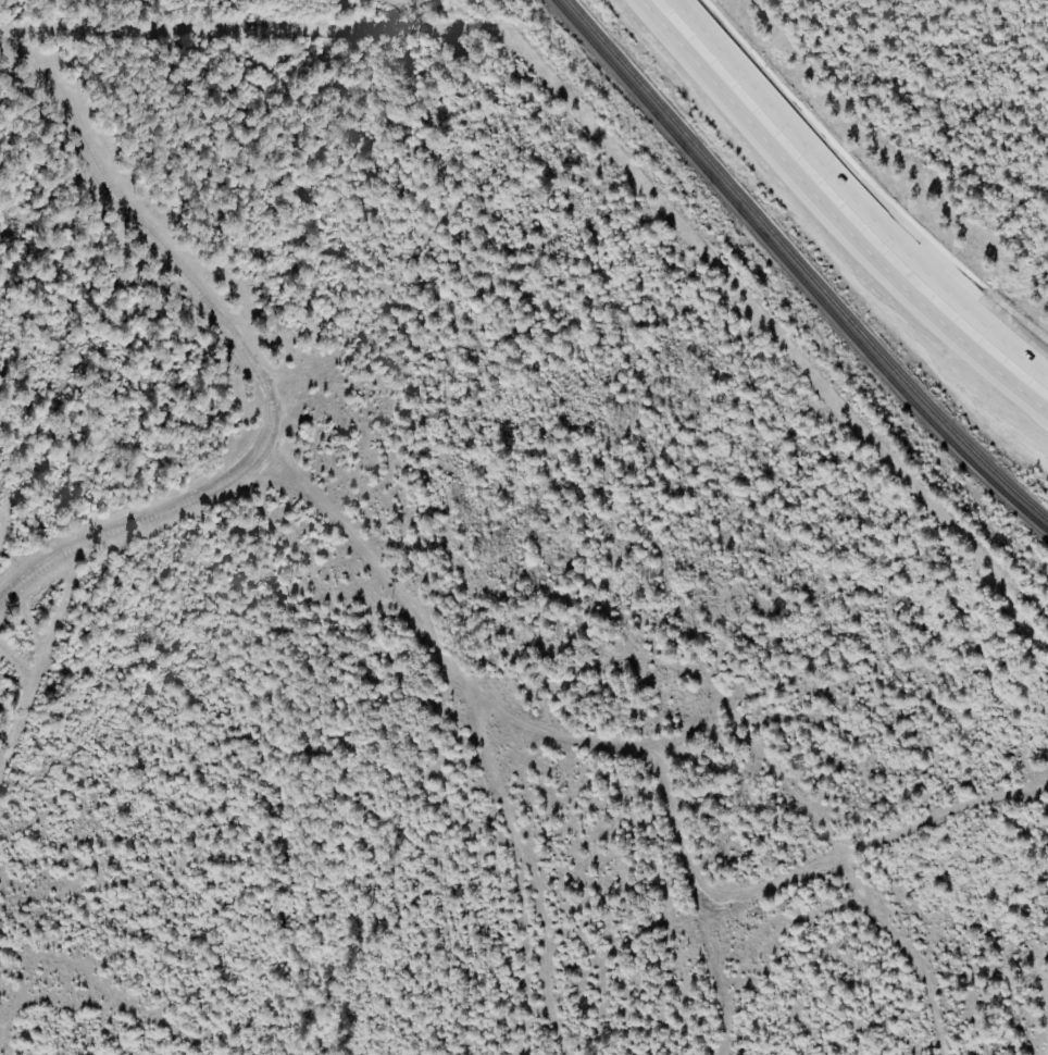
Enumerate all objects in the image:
road: (822, 164)
railway: (801, 266)
railway: (796, 273)
road: (1012, 356)
road: (252, 360)
road: (47, 659)
road: (560, 738)
road: (875, 846)
road: (521, 868)
road: (908, 951)
road: (127, 998)

